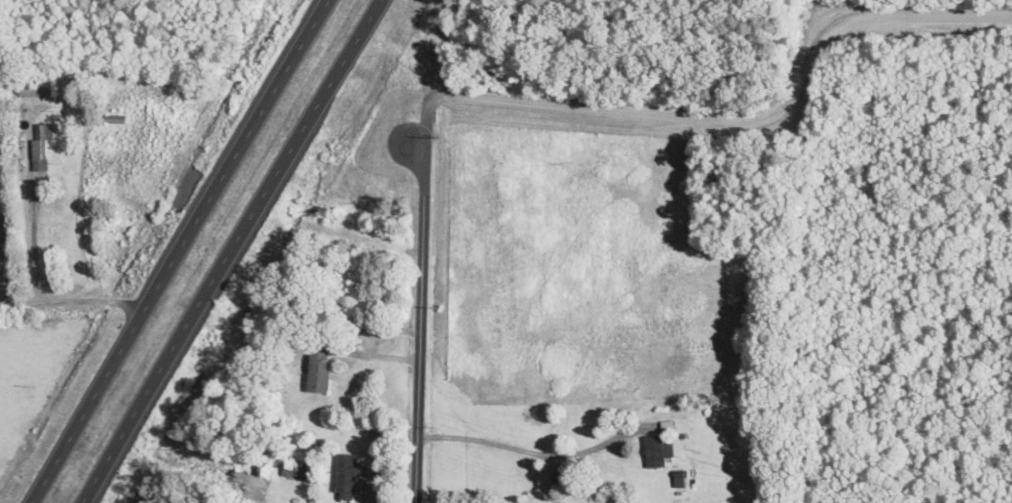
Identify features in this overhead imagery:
building: (34, 87)
building: (364, 119)
road: (722, 125)
building: (41, 149)
road: (177, 250)
road: (230, 251)
road: (73, 297)
road: (423, 323)
building: (319, 370)
building: (658, 453)
building: (293, 470)
building: (347, 477)

